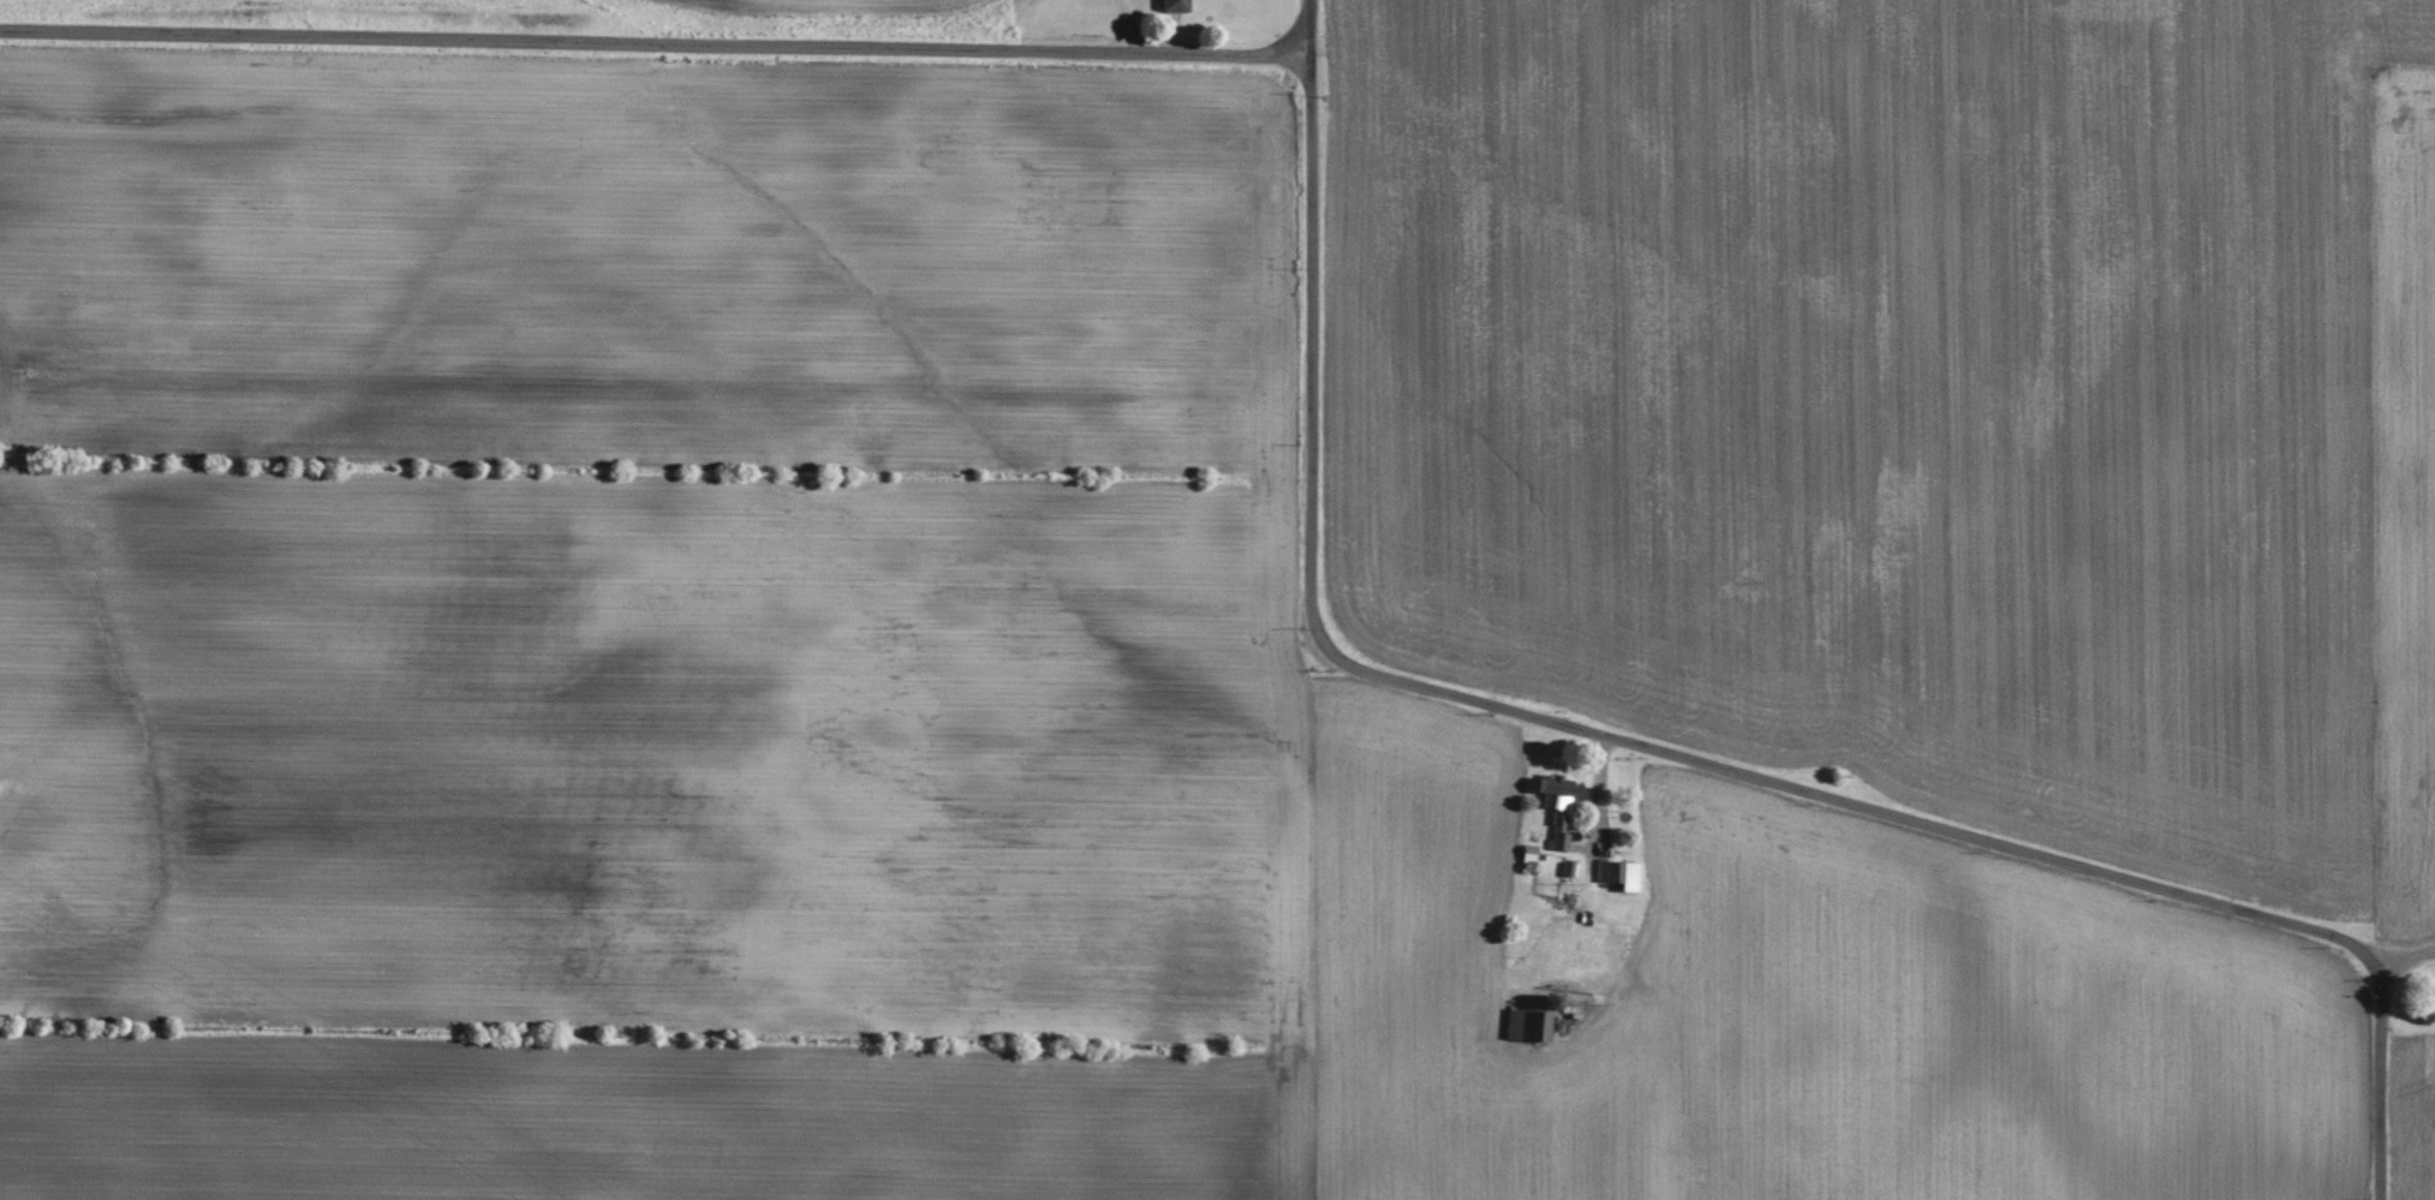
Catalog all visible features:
building: (1177, 5)
road: (653, 44)
road: (1307, 304)
road: (1599, 786)
building: (1557, 787)
road: (1944, 830)
building: (1621, 874)
road: (2406, 961)

